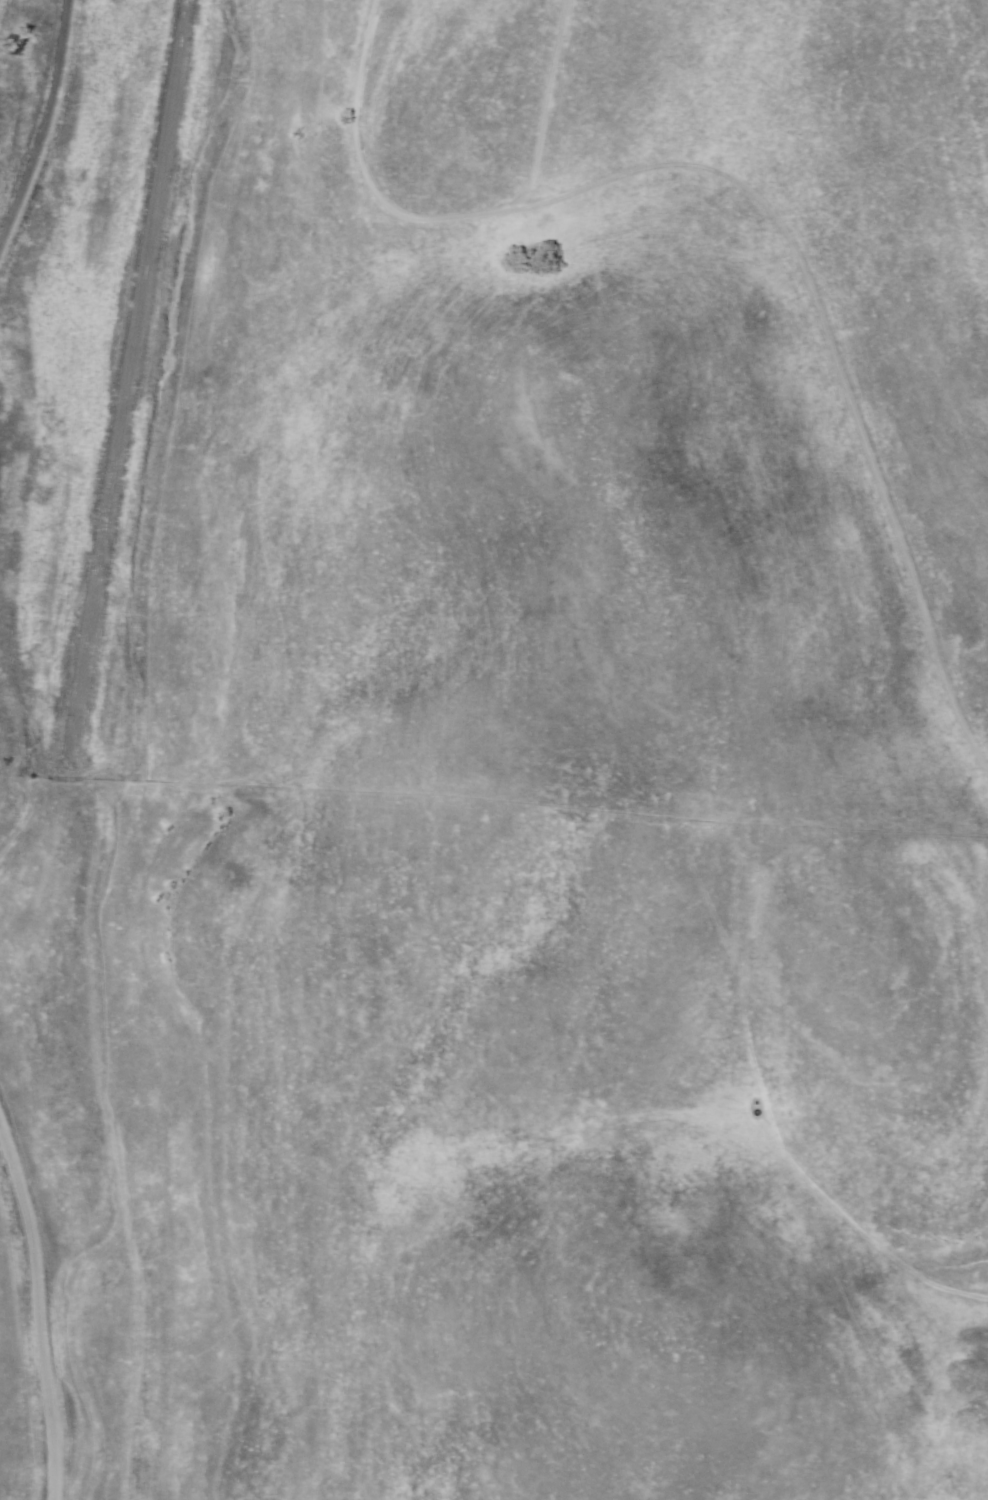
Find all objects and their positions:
road: (782, 164)
road: (52, 267)
road: (41, 1315)

